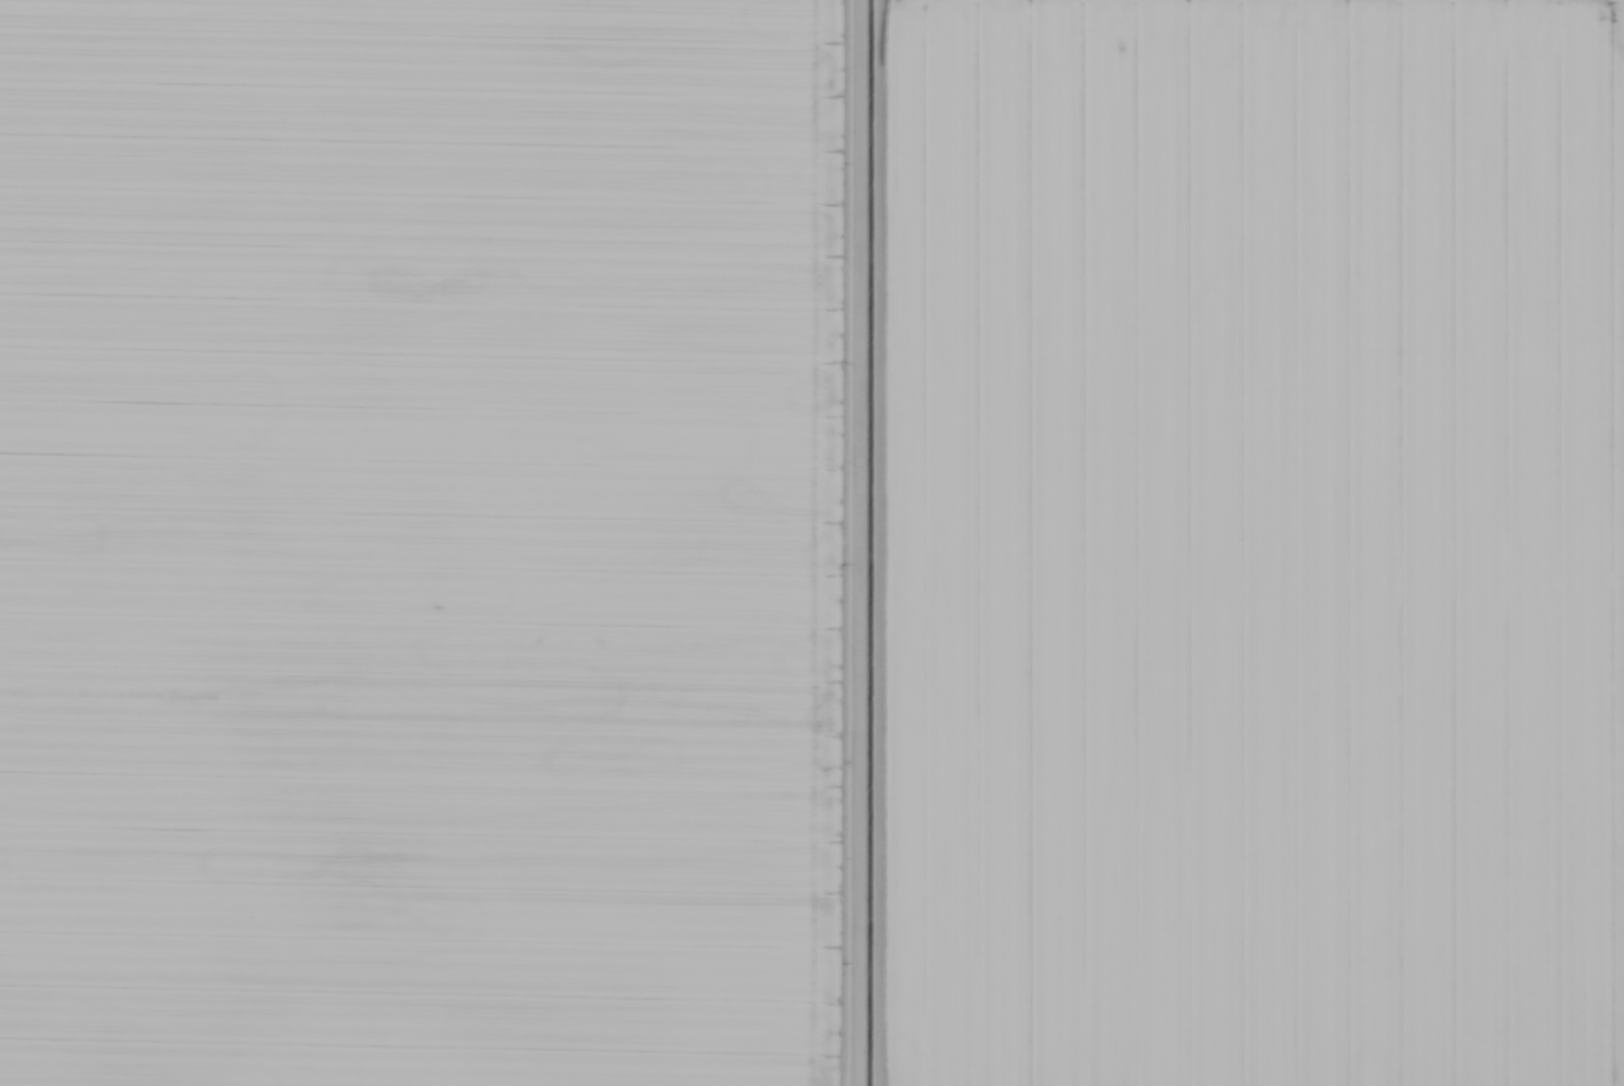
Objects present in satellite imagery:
building: (267, 2)
building: (558, 209)
building: (149, 230)
crop: (422, 542)
crop: (1254, 543)
building: (689, 701)
building: (284, 786)
building: (112, 905)
building: (216, 920)
building: (233, 924)

